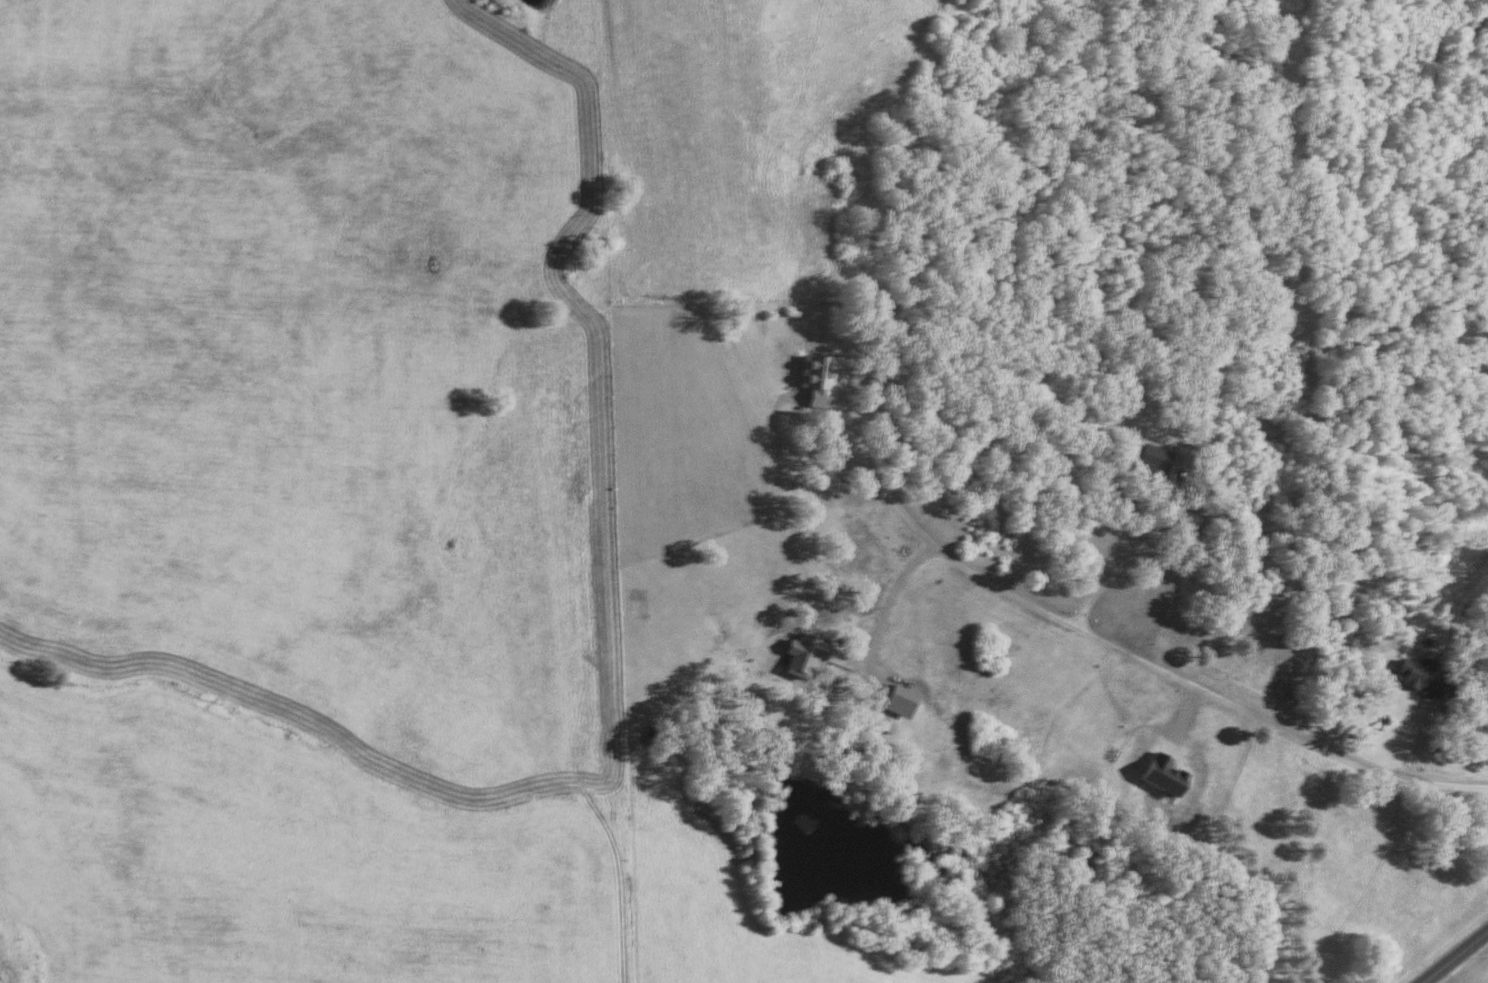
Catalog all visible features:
building: (822, 378)
building: (1161, 460)
building: (809, 655)
building: (1432, 677)
road: (1199, 684)
building: (906, 700)
building: (1170, 775)
building: (713, 808)
road: (1454, 956)

